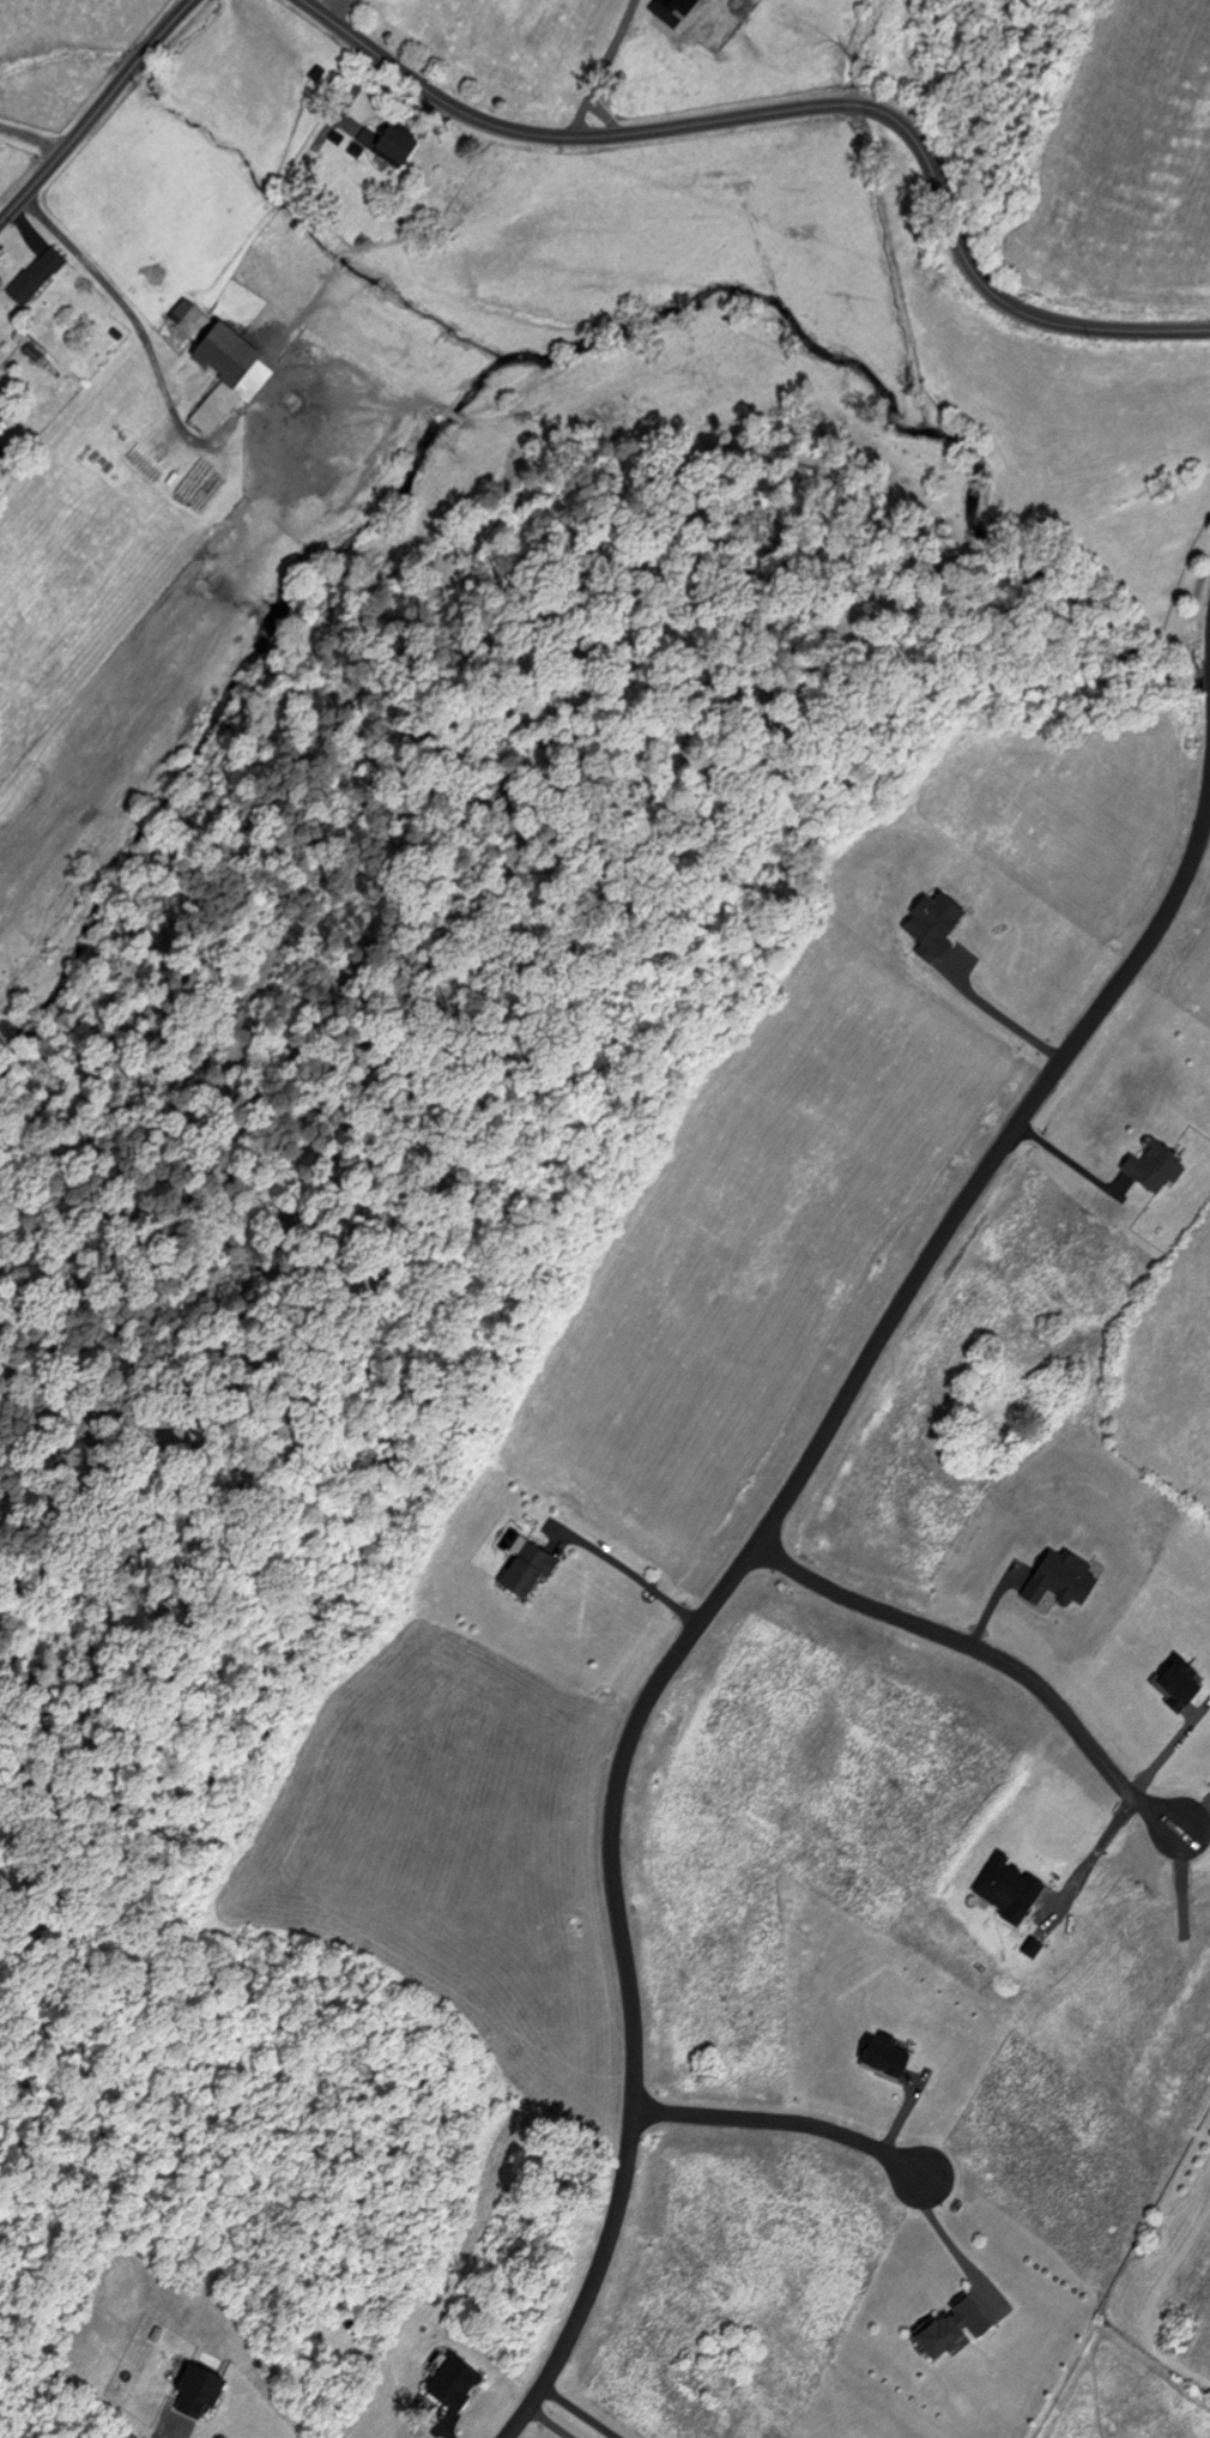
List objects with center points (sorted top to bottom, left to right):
road: (599, 68)
road: (797, 107)
road: (96, 110)
road: (577, 113)
road: (32, 138)
building: (395, 143)
building: (38, 274)
road: (120, 304)
building: (200, 321)
building: (234, 372)
road: (1002, 1014)
road: (1067, 1159)
building: (531, 1567)
road: (631, 1570)
road: (732, 1576)
road: (992, 1653)
road: (781, 2119)
road: (948, 2237)
road: (550, 2421)
road: (174, 2433)

